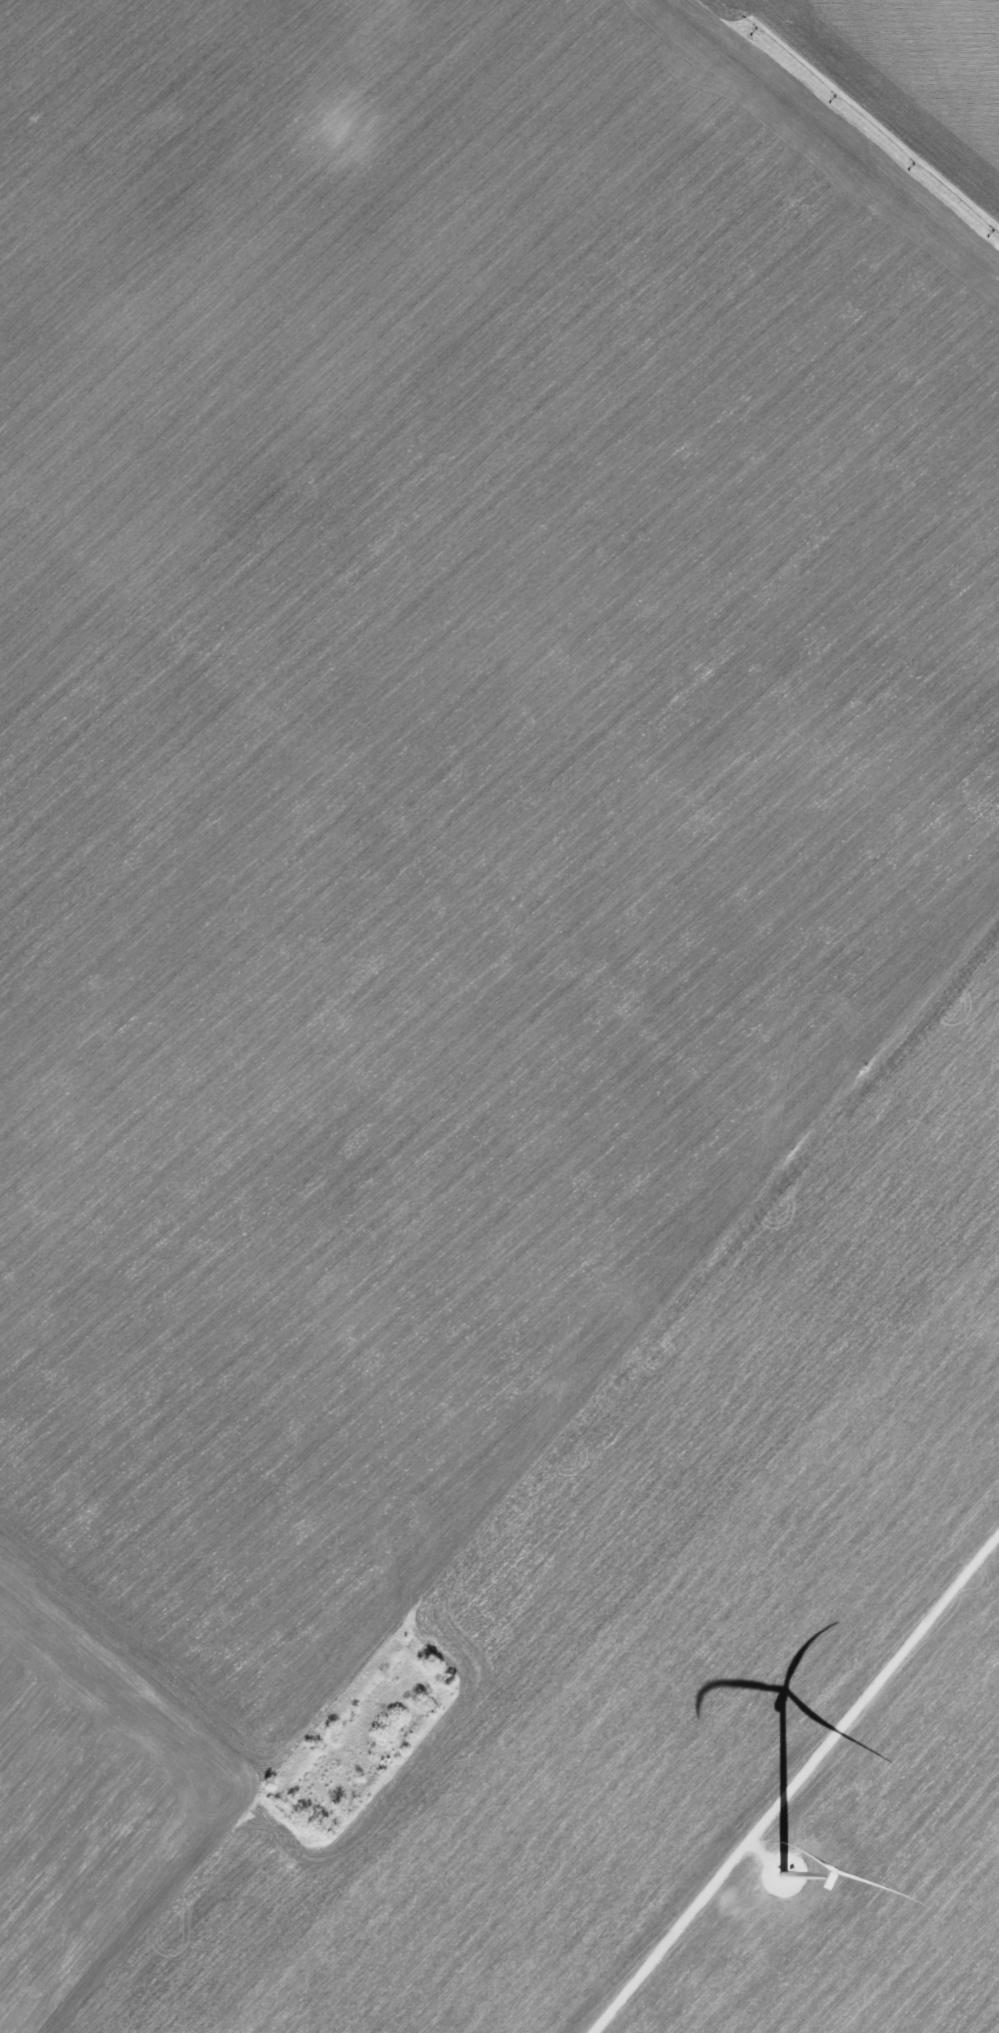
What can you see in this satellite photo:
wind turbine: (782, 1863)

